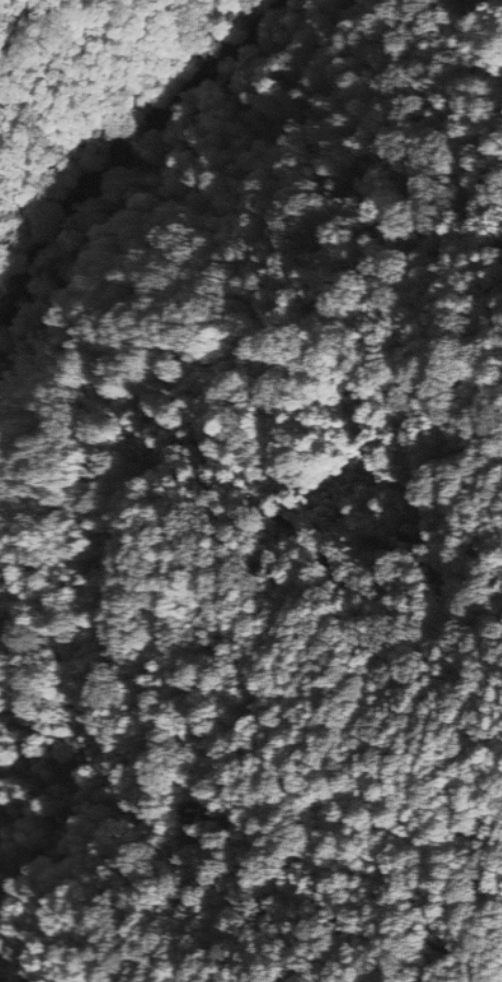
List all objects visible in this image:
road: (168, 182)
road: (171, 456)

